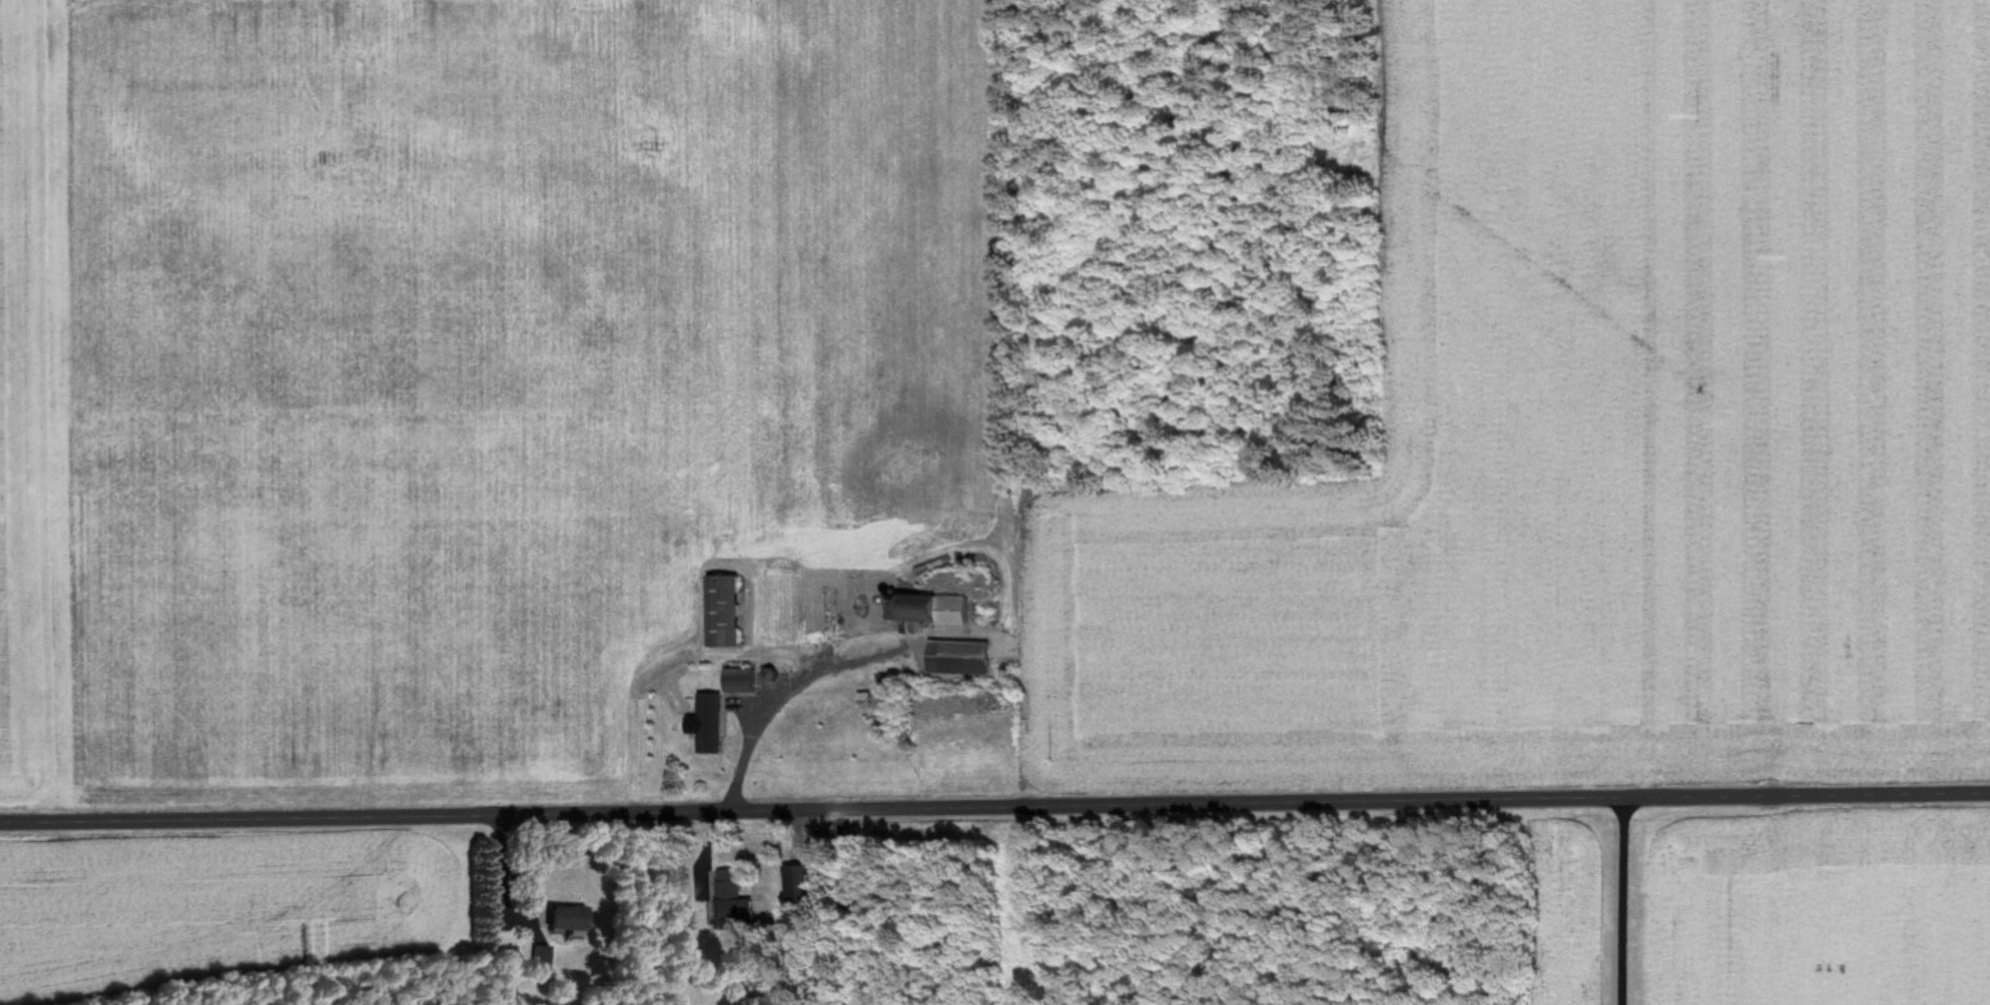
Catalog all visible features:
building: (927, 607)
building: (722, 609)
building: (955, 656)
building: (738, 679)
building: (710, 721)
road: (753, 726)
road: (994, 807)
building: (807, 881)
building: (734, 894)
road: (1621, 902)
building: (571, 916)

